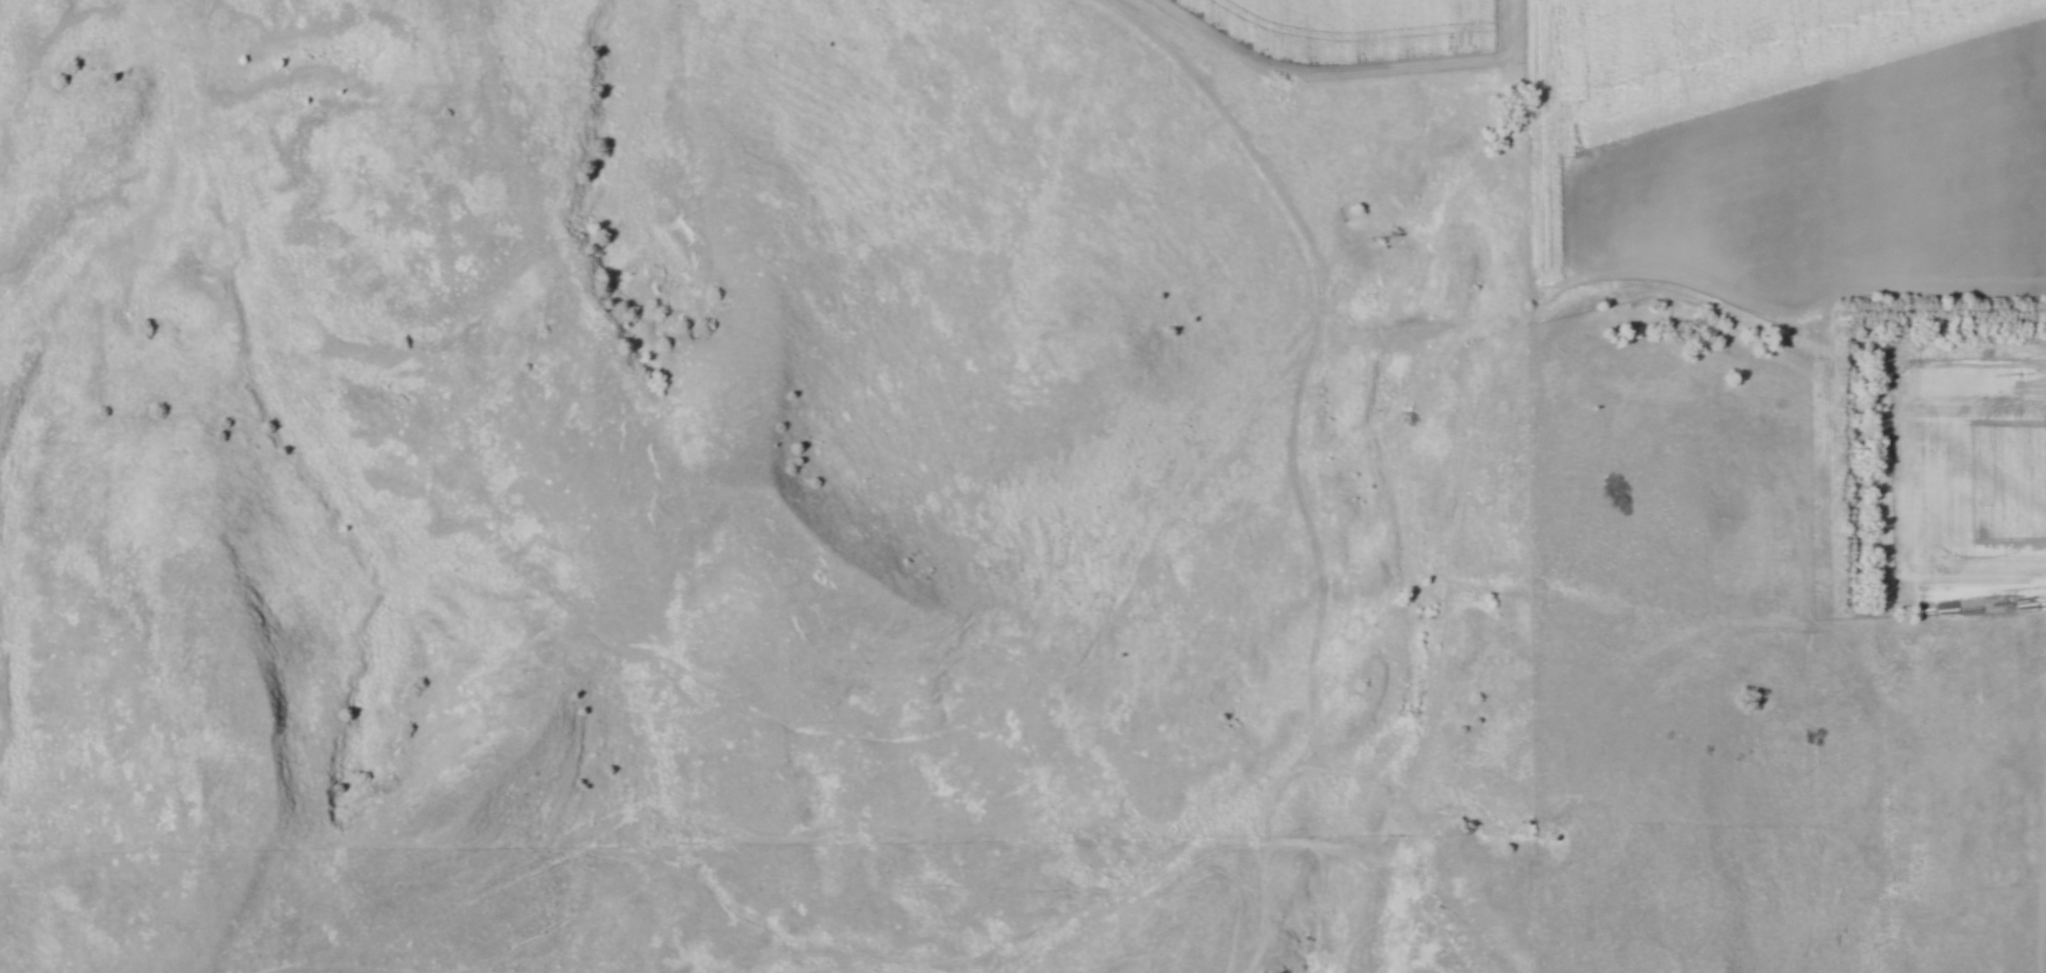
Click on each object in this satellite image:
crop: (1353, 28)
crop: (1790, 143)
building: (1920, 610)

